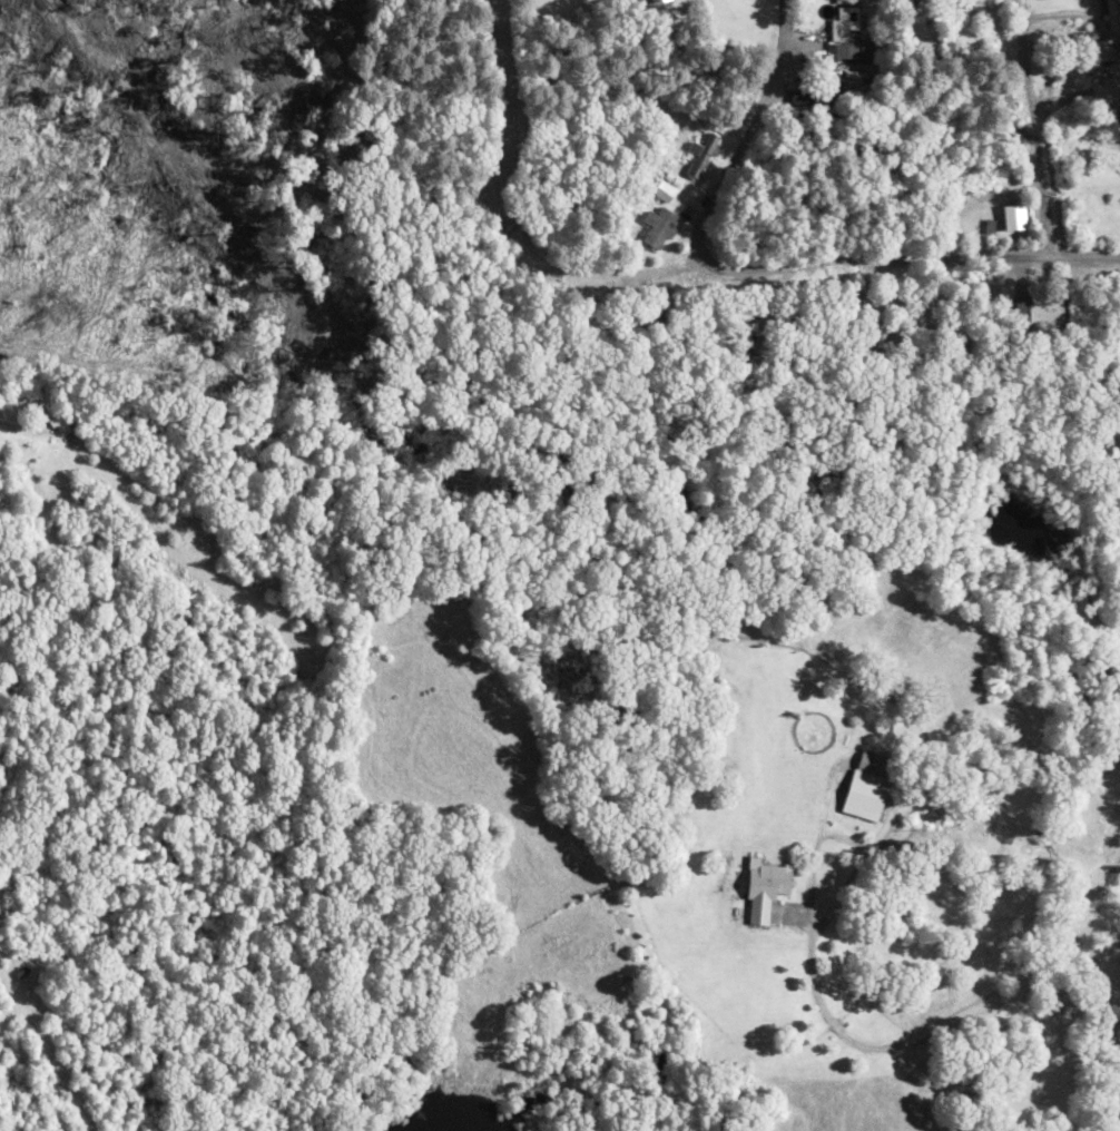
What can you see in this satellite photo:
building: (1113, 14)
building: (852, 36)
building: (1104, 49)
road: (1030, 128)
building: (704, 153)
building: (665, 189)
building: (659, 227)
road: (774, 267)
building: (759, 291)
building: (1038, 311)
building: (883, 336)
building: (866, 787)
building: (766, 887)
road: (925, 1030)

